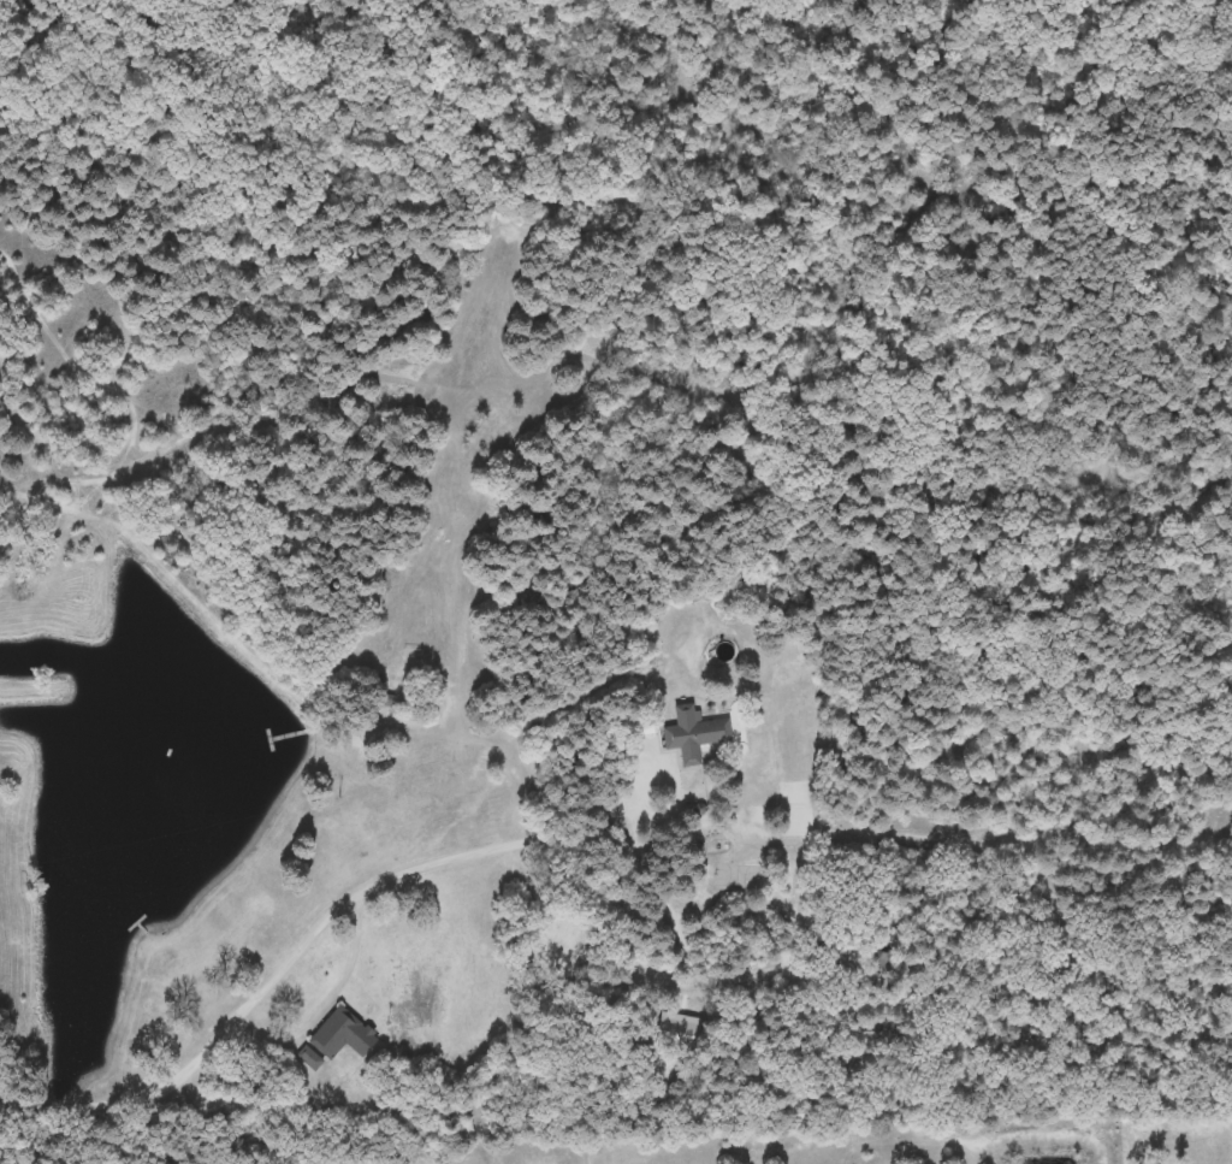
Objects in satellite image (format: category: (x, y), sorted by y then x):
building: (694, 734)
road: (304, 950)
building: (333, 1033)

